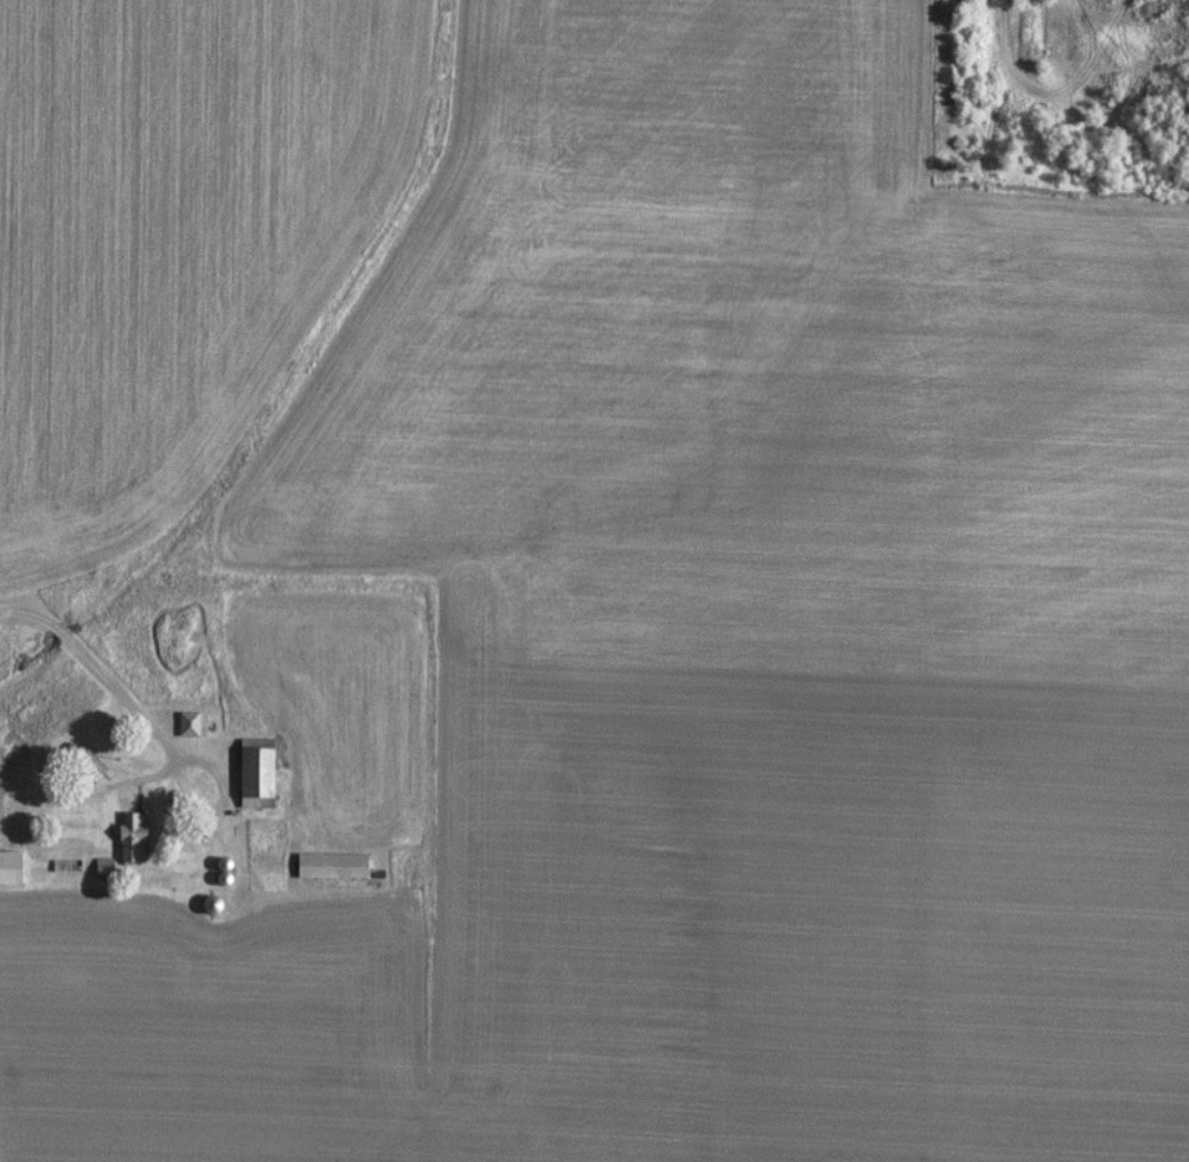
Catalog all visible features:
road: (102, 666)
building: (251, 772)
building: (328, 863)
building: (7, 866)

